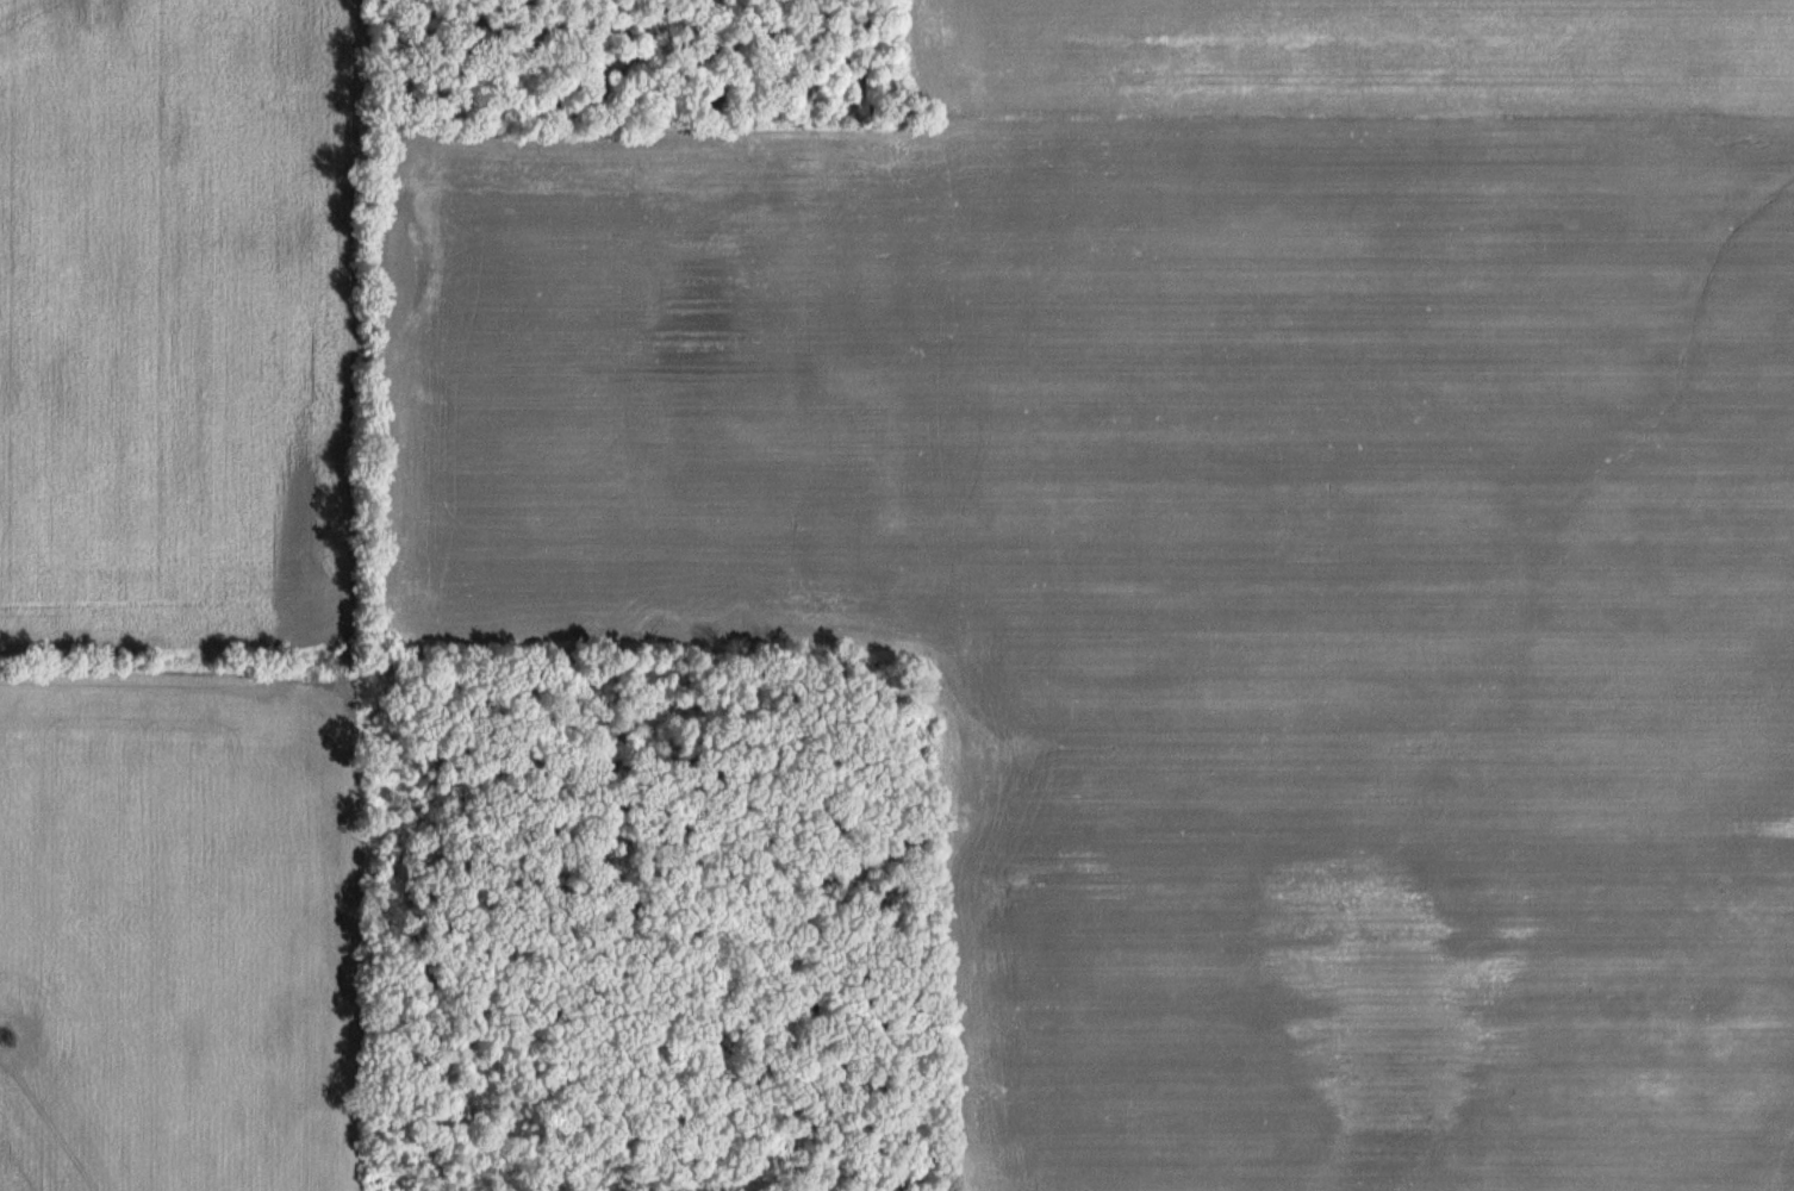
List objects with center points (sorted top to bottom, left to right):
crop: (176, 929)

